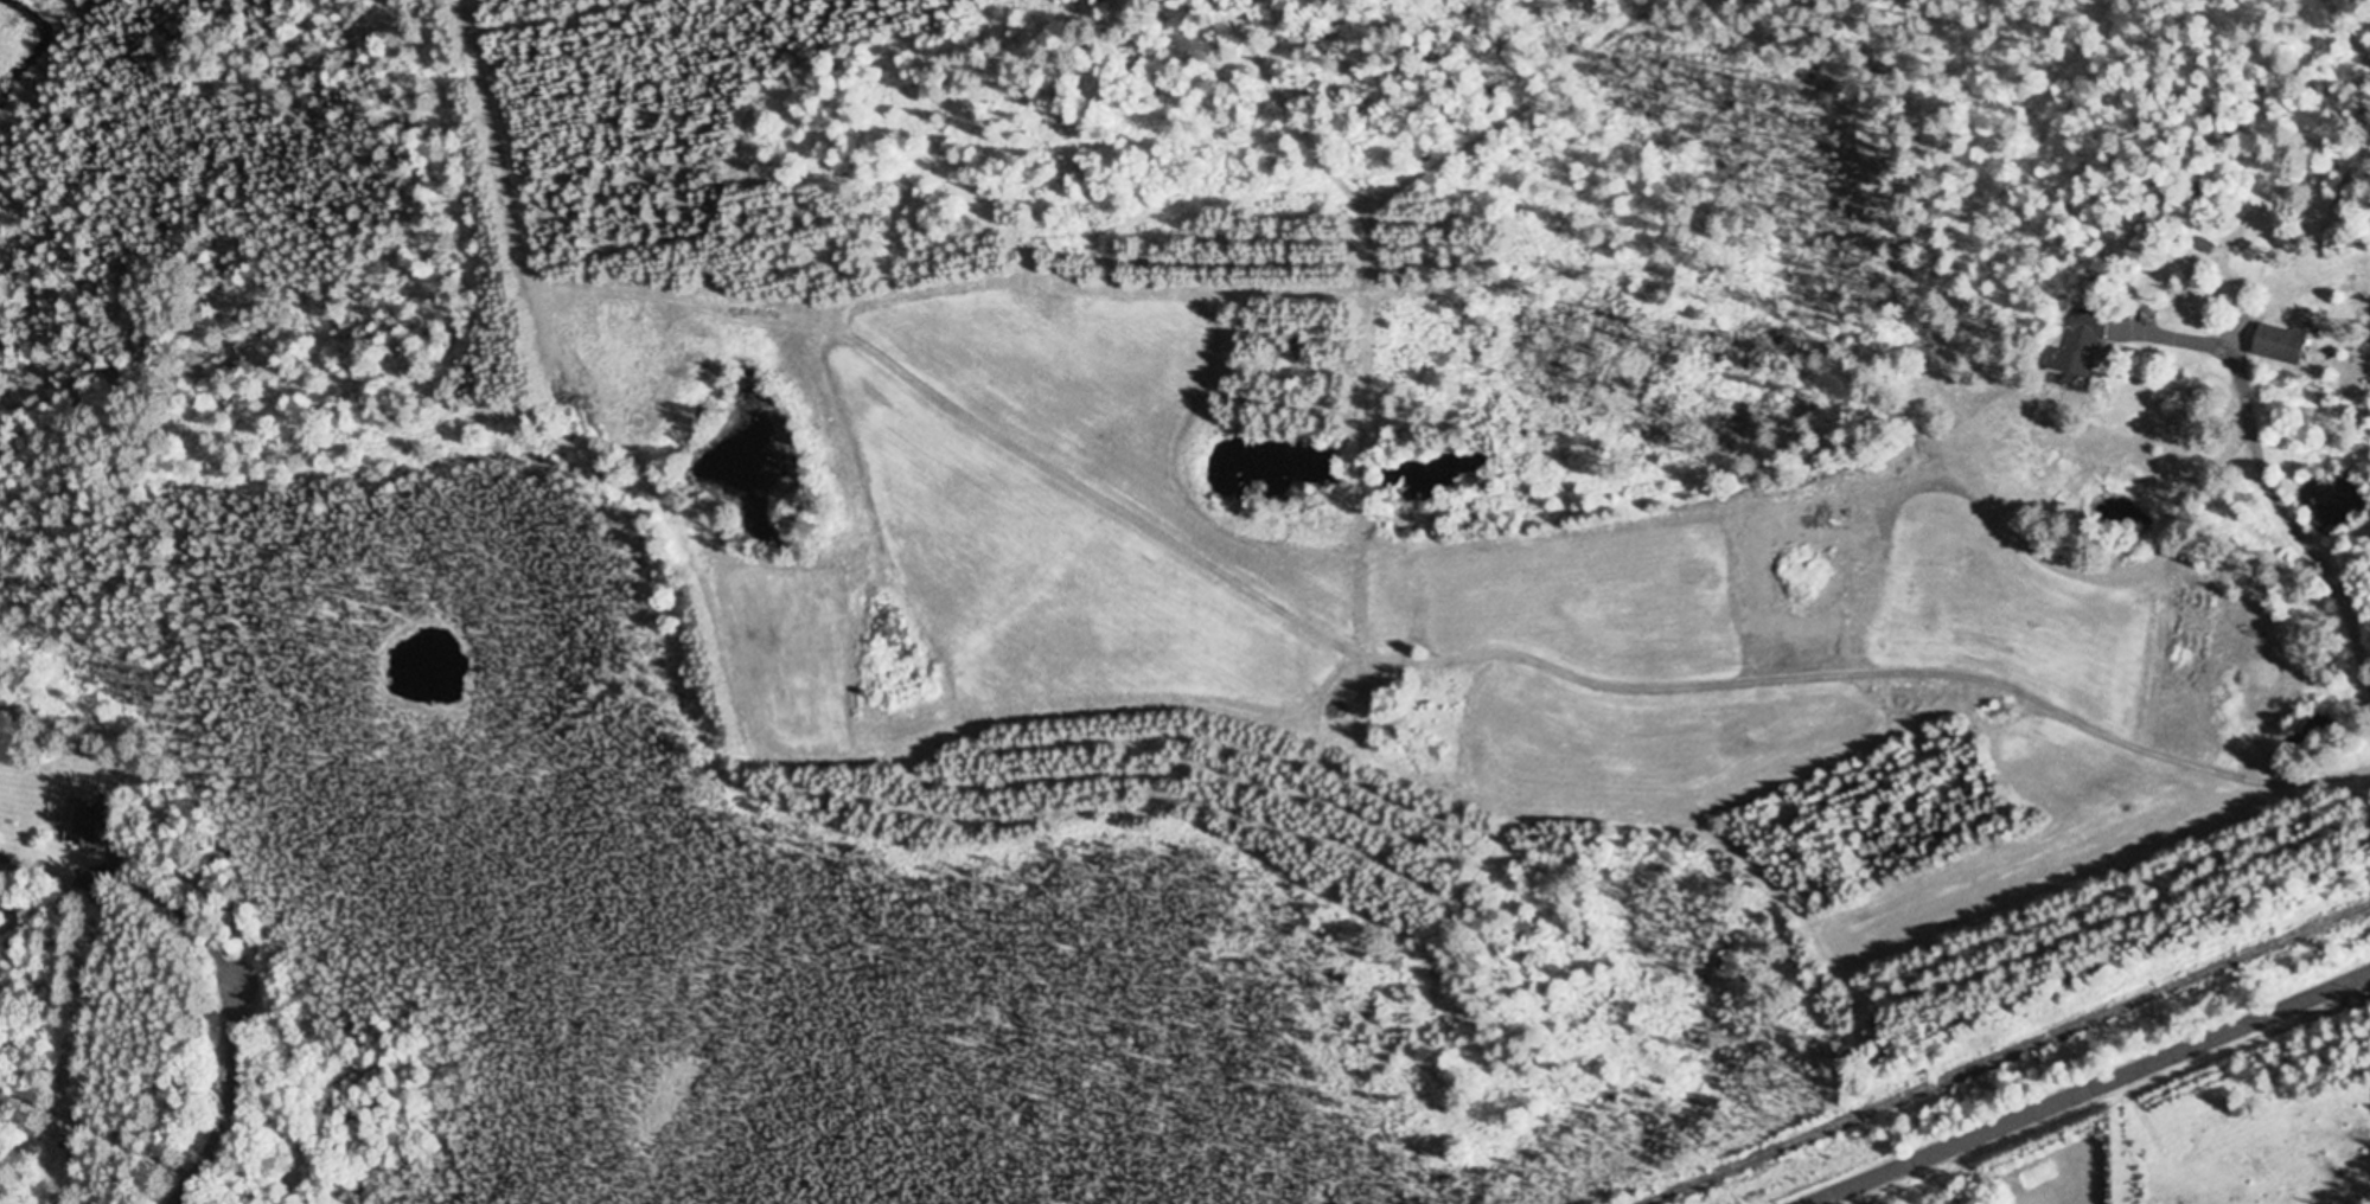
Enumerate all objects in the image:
building: (2275, 346)
building: (2076, 347)
road: (2262, 482)
road: (11, 652)
building: (82, 824)
road: (91, 1023)
railway: (2008, 1053)
road: (2093, 1089)
road: (12, 1196)

